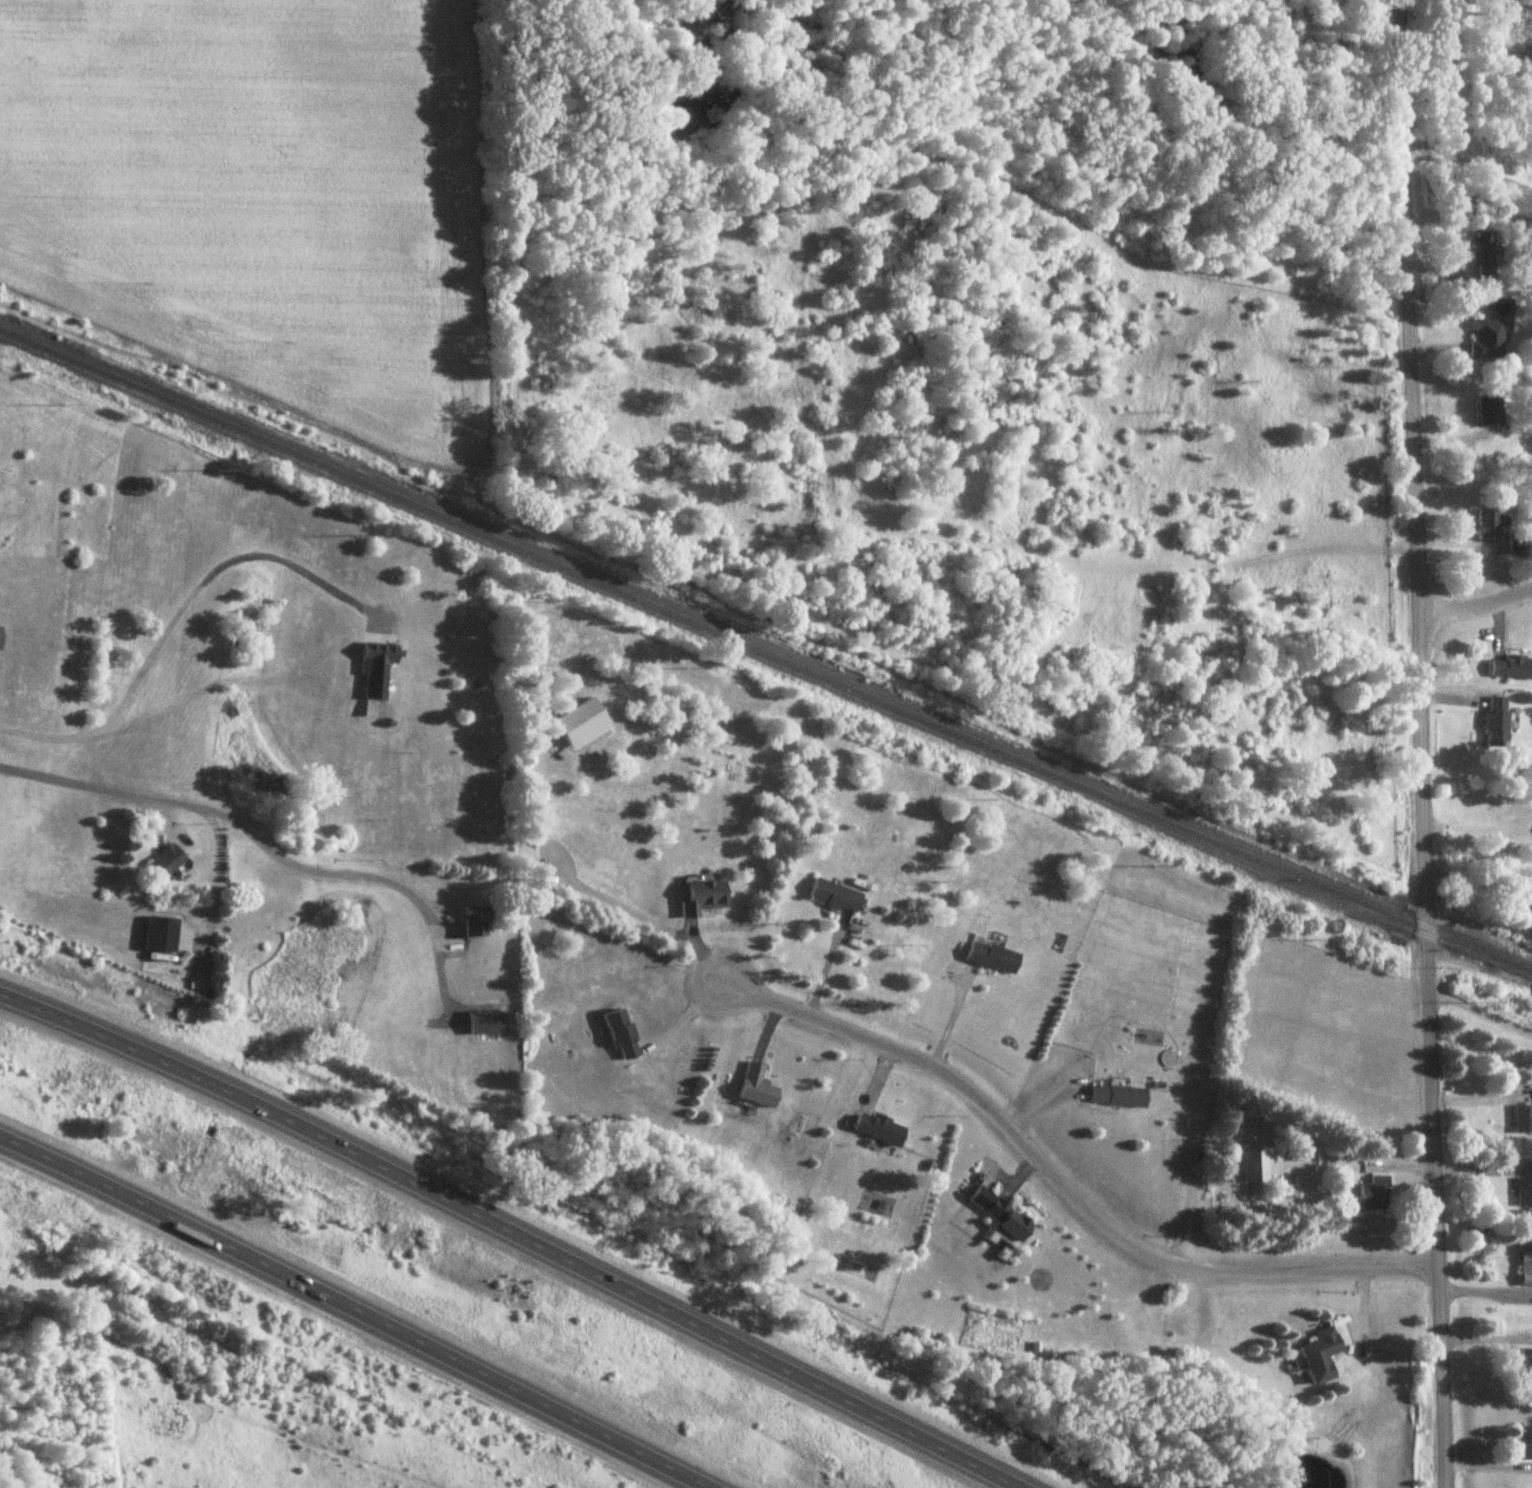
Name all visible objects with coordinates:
road: (1464, 158)
building: (1484, 257)
building: (1487, 340)
building: (1490, 413)
building: (1491, 525)
road: (1474, 606)
road: (178, 627)
building: (0, 639)
railway: (765, 650)
railway: (763, 663)
building: (1511, 665)
building: (377, 669)
building: (1496, 720)
road: (1417, 731)
road: (268, 844)
building: (167, 862)
road: (1475, 887)
building: (835, 897)
building: (704, 899)
building: (476, 922)
building: (993, 958)
building: (161, 964)
road: (1478, 1009)
building: (485, 1023)
building: (622, 1035)
building: (756, 1087)
road: (1479, 1095)
building: (1118, 1097)
building: (1522, 1118)
building: (879, 1129)
building: (1253, 1167)
road: (1060, 1181)
building: (1524, 1191)
building: (1372, 1196)
building: (1007, 1220)
road: (518, 1229)
building: (1525, 1268)
road: (1482, 1291)
road: (358, 1308)
building: (1320, 1356)
building: (1523, 1362)
building: (1523, 1446)
road: (1439, 1476)

